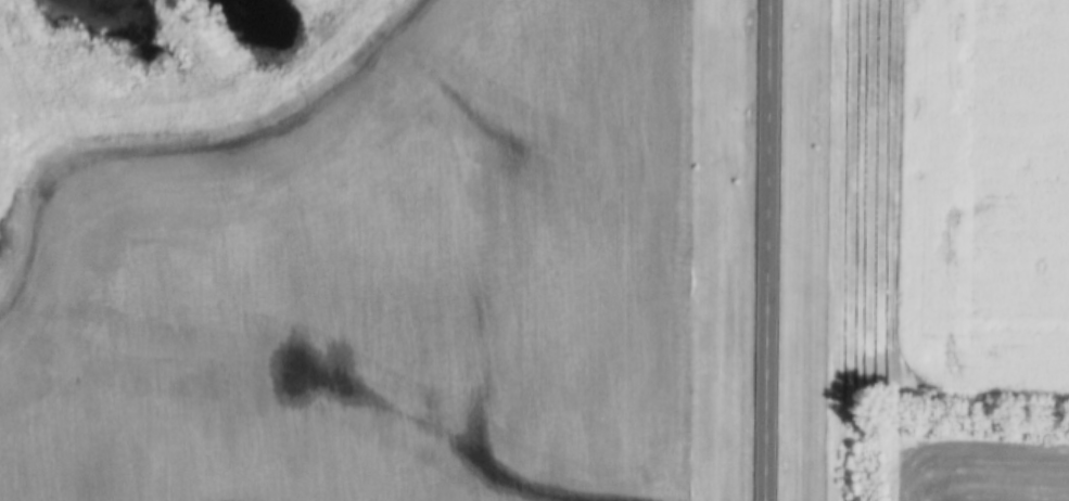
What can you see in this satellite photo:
road: (752, 55)
road: (750, 306)

